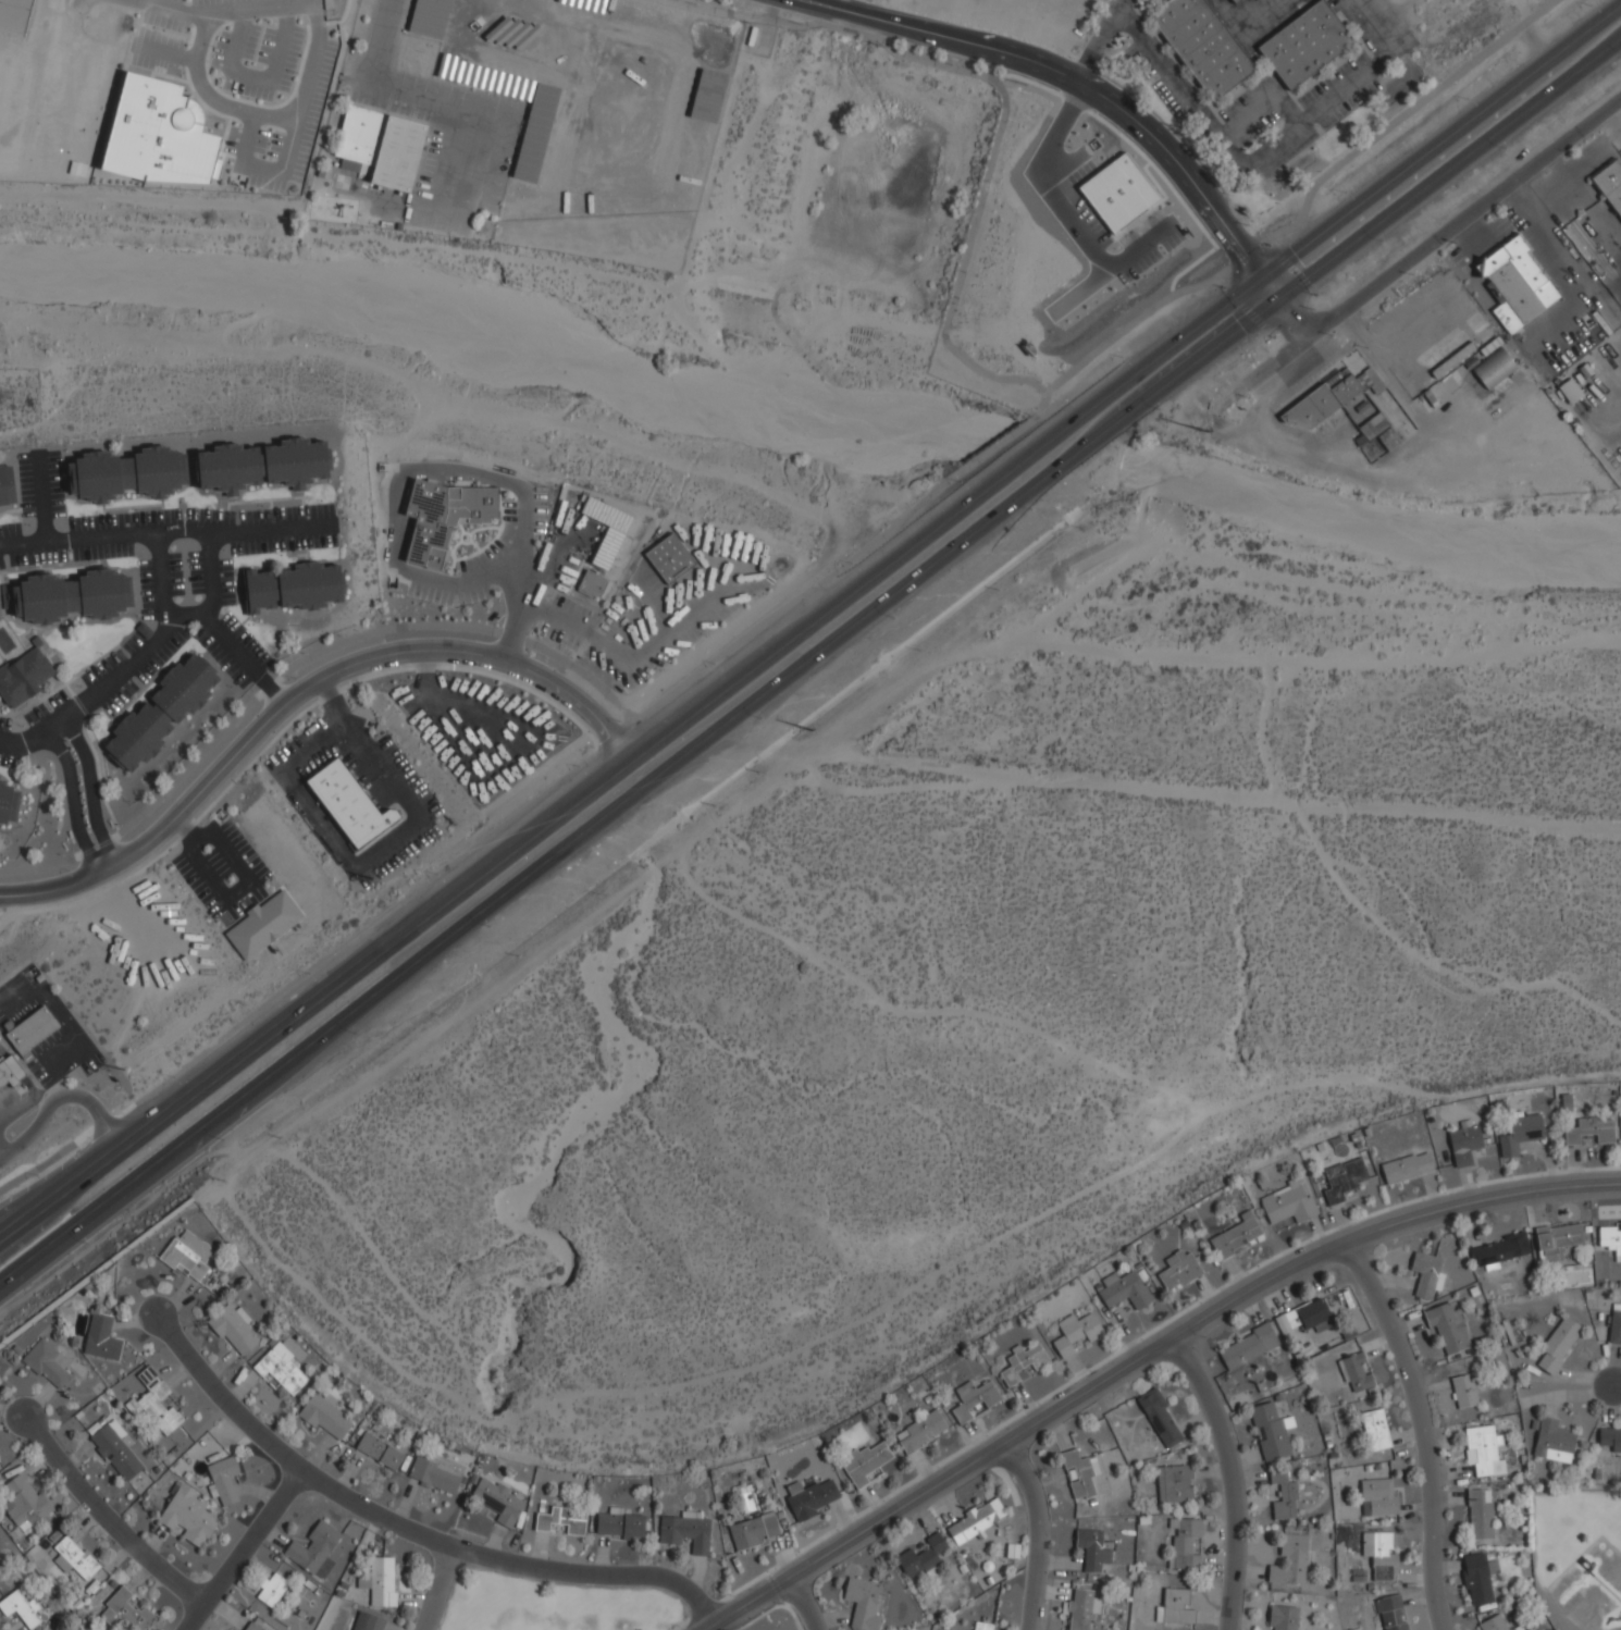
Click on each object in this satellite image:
building: (1233, 1)
road: (1117, 2)
street lamp: (1591, 5)
road: (258, 8)
road: (170, 9)
building: (1304, 44)
road: (1096, 45)
building: (1201, 45)
road: (1085, 88)
street lamp: (1468, 99)
road: (274, 119)
building: (160, 134)
building: (380, 147)
street lamp: (1505, 149)
road: (1262, 152)
road: (255, 169)
building: (1610, 185)
street lamp: (1346, 193)
road: (1449, 227)
street lamp: (1383, 242)
traffic signals: (1259, 277)
building: (1515, 284)
street lamp: (1224, 288)
street lamp: (1315, 295)
traffic signals: (1279, 302)
river: (497, 336)
street lamp: (1122, 357)
building: (1494, 369)
building: (1570, 391)
power tower: (1248, 398)
building: (1322, 403)
street lamp: (1160, 409)
building: (1382, 431)
power tower: (1207, 432)
river: (1054, 453)
building: (262, 466)
building: (127, 473)
road: (396, 479)
street lamp: (960, 482)
parking lot: (55, 484)
building: (5, 485)
parking lot: (25, 485)
road: (41, 496)
street lamp: (261, 506)
parking lot: (539, 506)
street lamp: (549, 506)
street lamp: (135, 509)
street lamp: (1031, 510)
parking lot: (285, 514)
parking lot: (210, 516)
building: (442, 518)
parking lot: (124, 520)
river: (1370, 521)
street lamp: (497, 522)
street lamp: (28, 524)
parking lot: (10, 530)
road: (166, 530)
building: (606, 530)
street lamp: (760, 540)
parking lot: (503, 541)
parking lot: (283, 544)
street lamp: (69, 551)
street lamp: (223, 551)
parking lot: (102, 552)
road: (702, 552)
street lamp: (466, 554)
parking lot: (37, 557)
building: (669, 558)
road: (731, 560)
parking lot: (1, 563)
street lamp: (852, 564)
parking lot: (557, 568)
parking lot: (195, 572)
road: (210, 572)
road: (540, 573)
parking lot: (175, 575)
parking lot: (225, 582)
building: (592, 584)
building: (293, 586)
street lamp: (621, 589)
parking lot: (147, 590)
road: (643, 592)
parking lot: (447, 595)
building: (69, 596)
street lamp: (758, 596)
street lamp: (428, 603)
street lamp: (471, 606)
parking lot: (576, 607)
road: (520, 612)
street lamp: (604, 616)
street lamp: (892, 618)
road: (811, 622)
road: (578, 628)
street lamp: (705, 635)
parking lot: (245, 640)
parking lot: (133, 643)
street lamp: (628, 644)
road: (232, 647)
parking lot: (161, 656)
parking lot: (221, 658)
road: (812, 662)
street lamp: (715, 664)
road: (129, 666)
parking lot: (102, 667)
street lamp: (660, 670)
building: (23, 677)
street lamp: (295, 678)
road: (301, 690)
parking lot: (119, 697)
parking lot: (57, 700)
road: (333, 705)
street lamp: (49, 709)
building: (161, 712)
parking lot: (35, 715)
street lamp: (760, 719)
street lamp: (618, 721)
parking lot: (4, 725)
power tower: (809, 730)
street lamp: (65, 741)
parking lot: (9, 761)
street lamp: (579, 767)
road: (90, 790)
street lamp: (83, 799)
road: (72, 801)
building: (8, 803)
building: (350, 805)
street lamp: (622, 824)
road: (186, 830)
parking lot: (244, 851)
road: (373, 853)
parking lot: (216, 863)
street lamp: (69, 870)
road: (243, 873)
street lamp: (437, 875)
power tower: (371, 879)
parking lot: (196, 886)
parking lot: (259, 893)
parking lot: (234, 912)
building: (263, 925)
street lamp: (487, 928)
street lamp: (309, 974)
road: (59, 1013)
road: (45, 1021)
road: (37, 1024)
road: (29, 1028)
building: (32, 1030)
street lamp: (351, 1030)
road: (24, 1034)
parking lot: (92, 1063)
power tower: (122, 1070)
building: (12, 1073)
parking lot: (39, 1074)
street lamp: (174, 1077)
road: (61, 1097)
building: (1591, 1131)
street lamp: (216, 1134)
building: (1521, 1134)
building: (1464, 1144)
building: (1407, 1168)
building: (1342, 1180)
building: (1288, 1203)
building: (1236, 1235)
street lamp: (82, 1237)
building: (1610, 1238)
building: (1557, 1240)
building: (1498, 1250)
building: (188, 1256)
building: (1178, 1270)
building: (1426, 1273)
building: (1124, 1291)
building: (1310, 1316)
building: (233, 1328)
building: (1448, 1328)
building: (1614, 1328)
building: (1076, 1333)
building: (101, 1338)
building: (1248, 1346)
building: (1558, 1346)
road: (1147, 1359)
building: (47, 1362)
building: (1023, 1363)
building: (280, 1369)
building: (1356, 1372)
road: (1614, 1386)
building: (1463, 1392)
building: (974, 1399)
building: (154, 1403)
building: (325, 1417)
building: (1160, 1419)
road: (1424, 1427)
building: (1375, 1430)
building: (920, 1431)
building: (1270, 1431)
building: (1609, 1440)
building: (1552, 1442)
building: (116, 1449)
building: (1482, 1449)
building: (379, 1452)
building: (866, 1462)
building: (1079, 1474)
building: (433, 1475)
building: (223, 1480)
road: (1230, 1480)
building: (1174, 1484)
building: (1285, 1494)
building: (809, 1497)
building: (1378, 1497)
building: (498, 1501)
building: (24, 1503)
road: (113, 1514)
building: (1480, 1514)
building: (189, 1515)
building: (562, 1520)
building: (977, 1521)
building: (620, 1524)
road: (409, 1526)
building: (754, 1530)
building: (685, 1531)
road: (1035, 1534)
building: (1184, 1543)
building: (1093, 1547)
road: (242, 1549)
building: (313, 1551)
building: (1381, 1554)
building: (921, 1557)
building: (75, 1558)
park: (1577, 1558)
building: (1289, 1561)
building: (1477, 1578)
building: (382, 1582)
road: (437, 1589)
building: (272, 1590)
road: (805, 1603)
building: (862, 1603)
park: (549, 1604)
building: (1175, 1607)
building: (21, 1608)
building: (1081, 1609)
building: (125, 1613)
building: (1390, 1613)
building: (1282, 1617)
building: (368, 1622)
building: (1494, 1623)
building: (980, 1626)
building: (251, 1627)
building: (1518, 1628)

